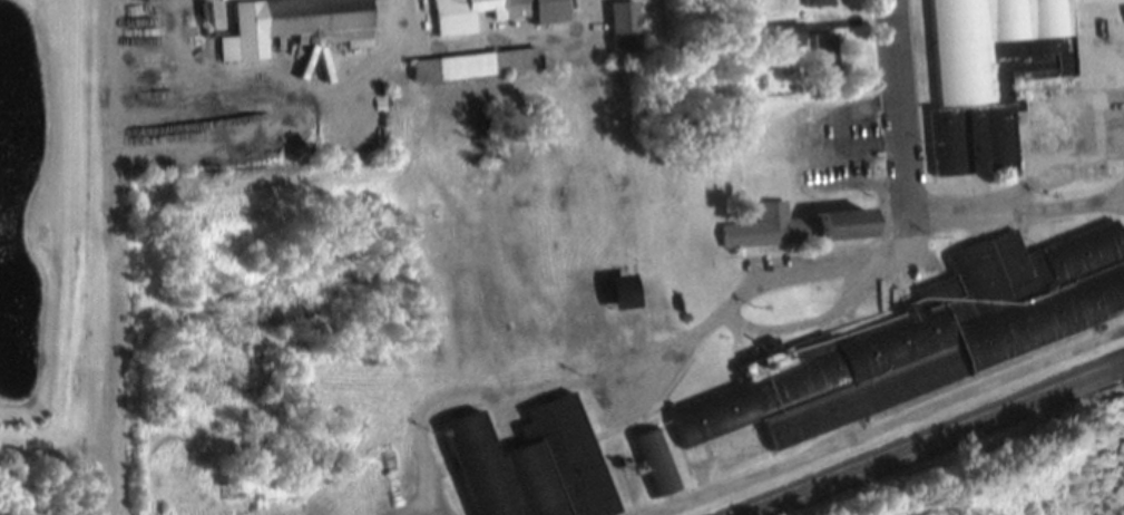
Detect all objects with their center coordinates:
building: (815, 2)
building: (492, 13)
building: (293, 25)
building: (623, 27)
building: (786, 35)
building: (827, 55)
building: (471, 65)
building: (1016, 76)
road: (896, 126)
building: (795, 226)
road: (108, 257)
road: (868, 259)
building: (619, 291)
building: (927, 336)
railway: (927, 437)
railway: (941, 443)
building: (655, 461)
building: (531, 464)
road: (1123, 514)

